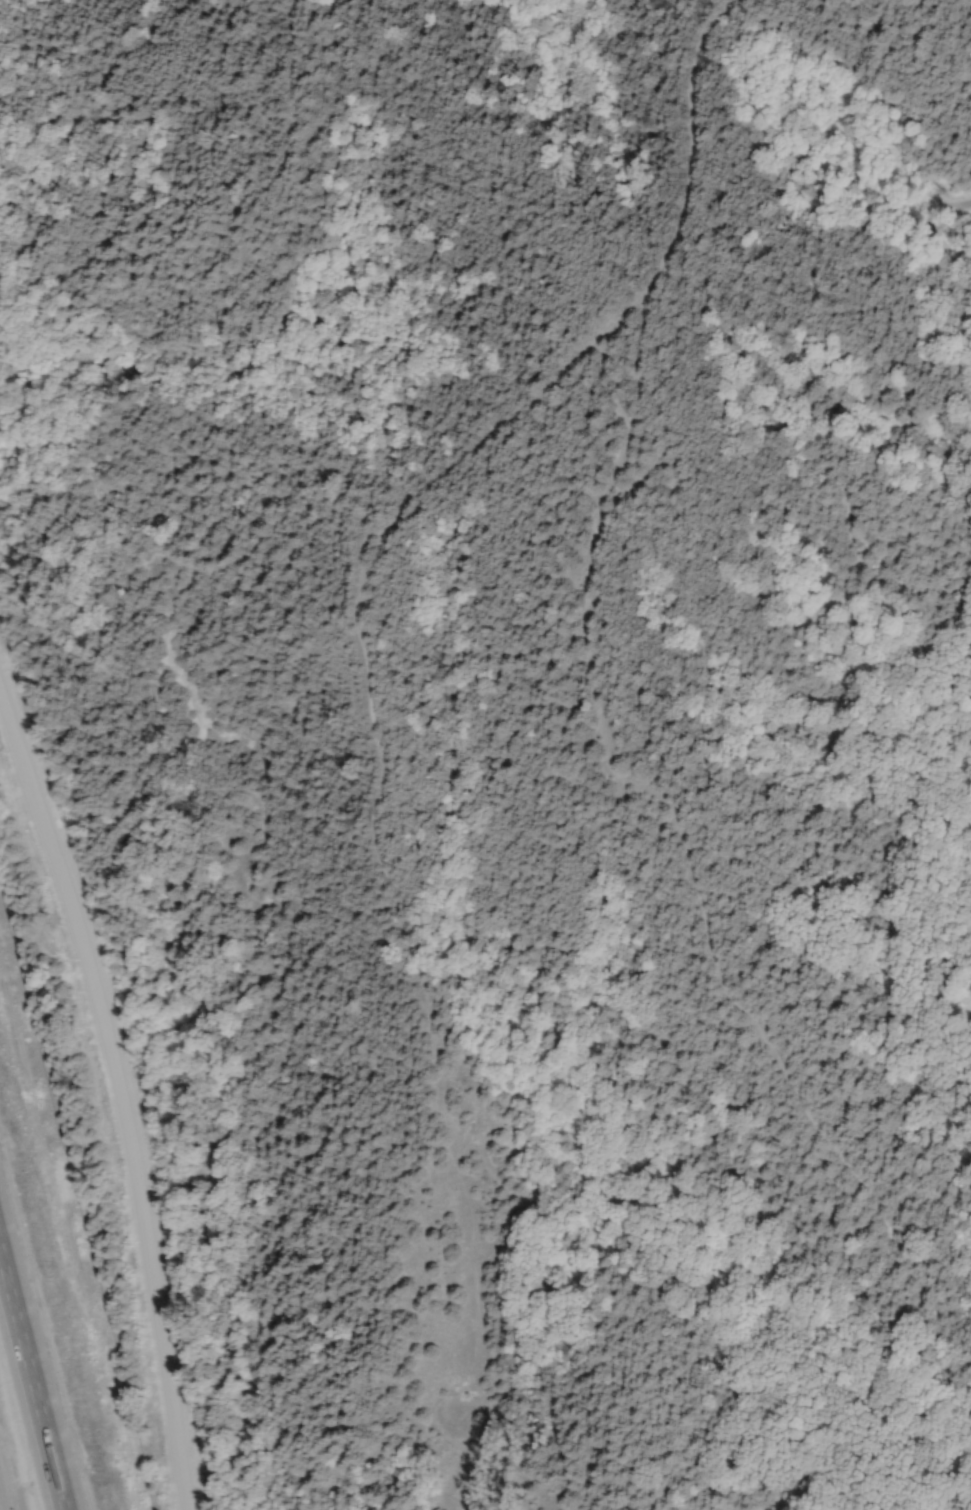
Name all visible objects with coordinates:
road: (121, 1093)
road: (41, 1346)
road: (5, 1489)

